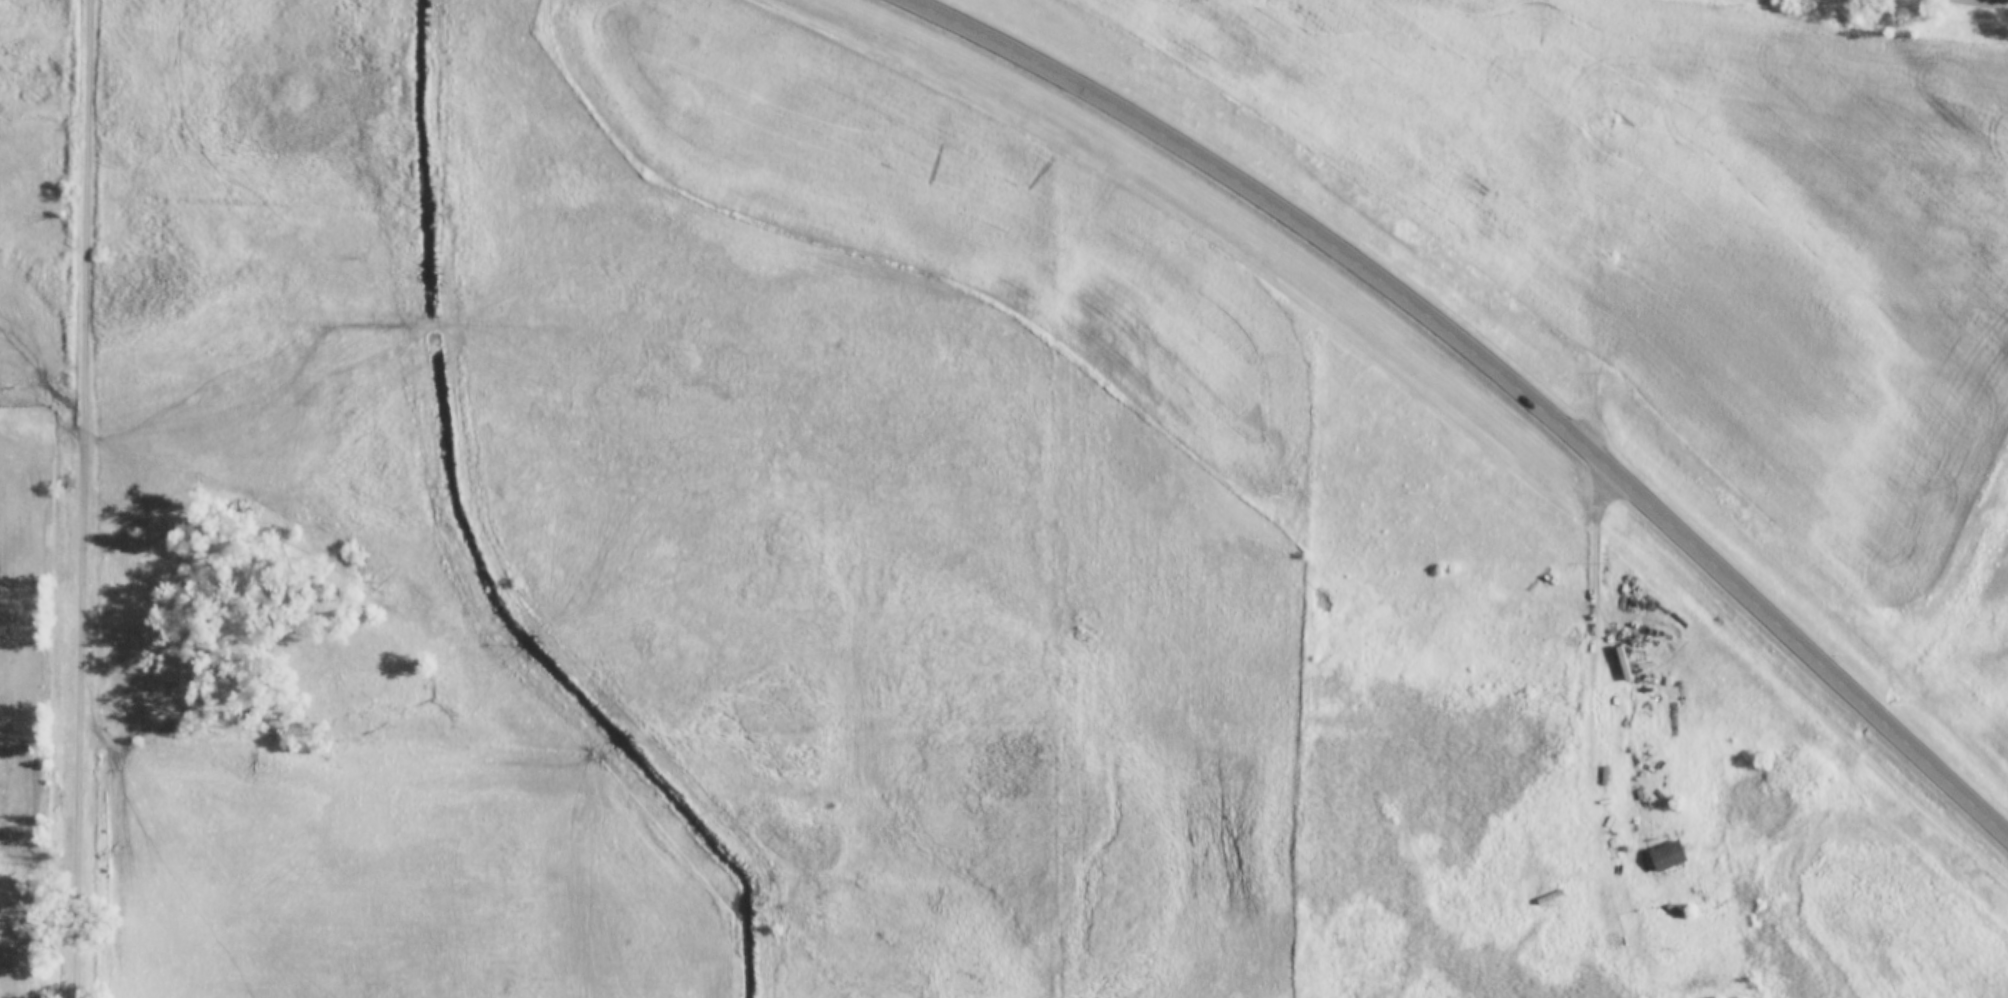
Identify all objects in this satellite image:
road: (1984, 3)
road: (1492, 369)
road: (82, 499)
road: (1597, 639)
building: (1666, 856)

